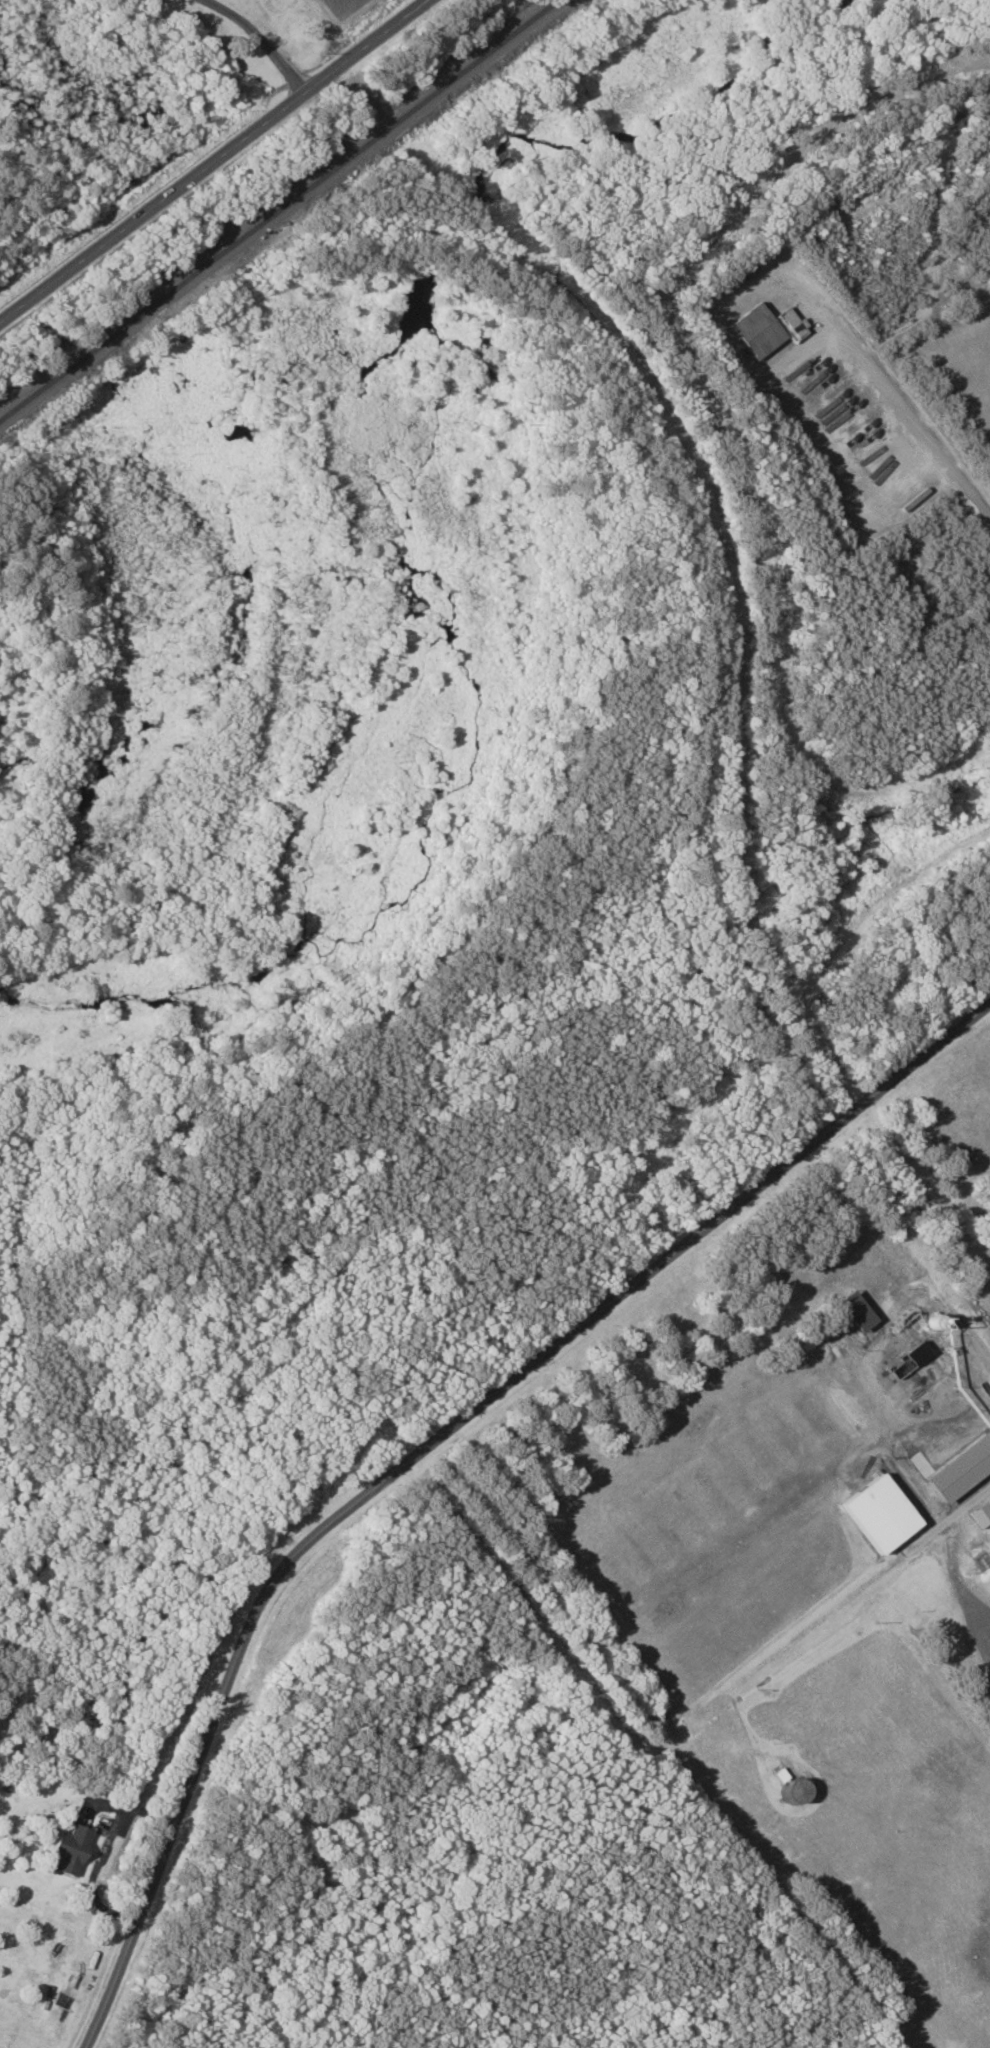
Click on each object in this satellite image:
road: (260, 39)
road: (215, 159)
railway: (278, 209)
building: (763, 327)
road: (907, 411)
building: (849, 1310)
road: (431, 1443)
road: (925, 1491)
road: (968, 1508)
building: (874, 1510)
road: (166, 1618)
building: (785, 1789)
building: (77, 1850)

